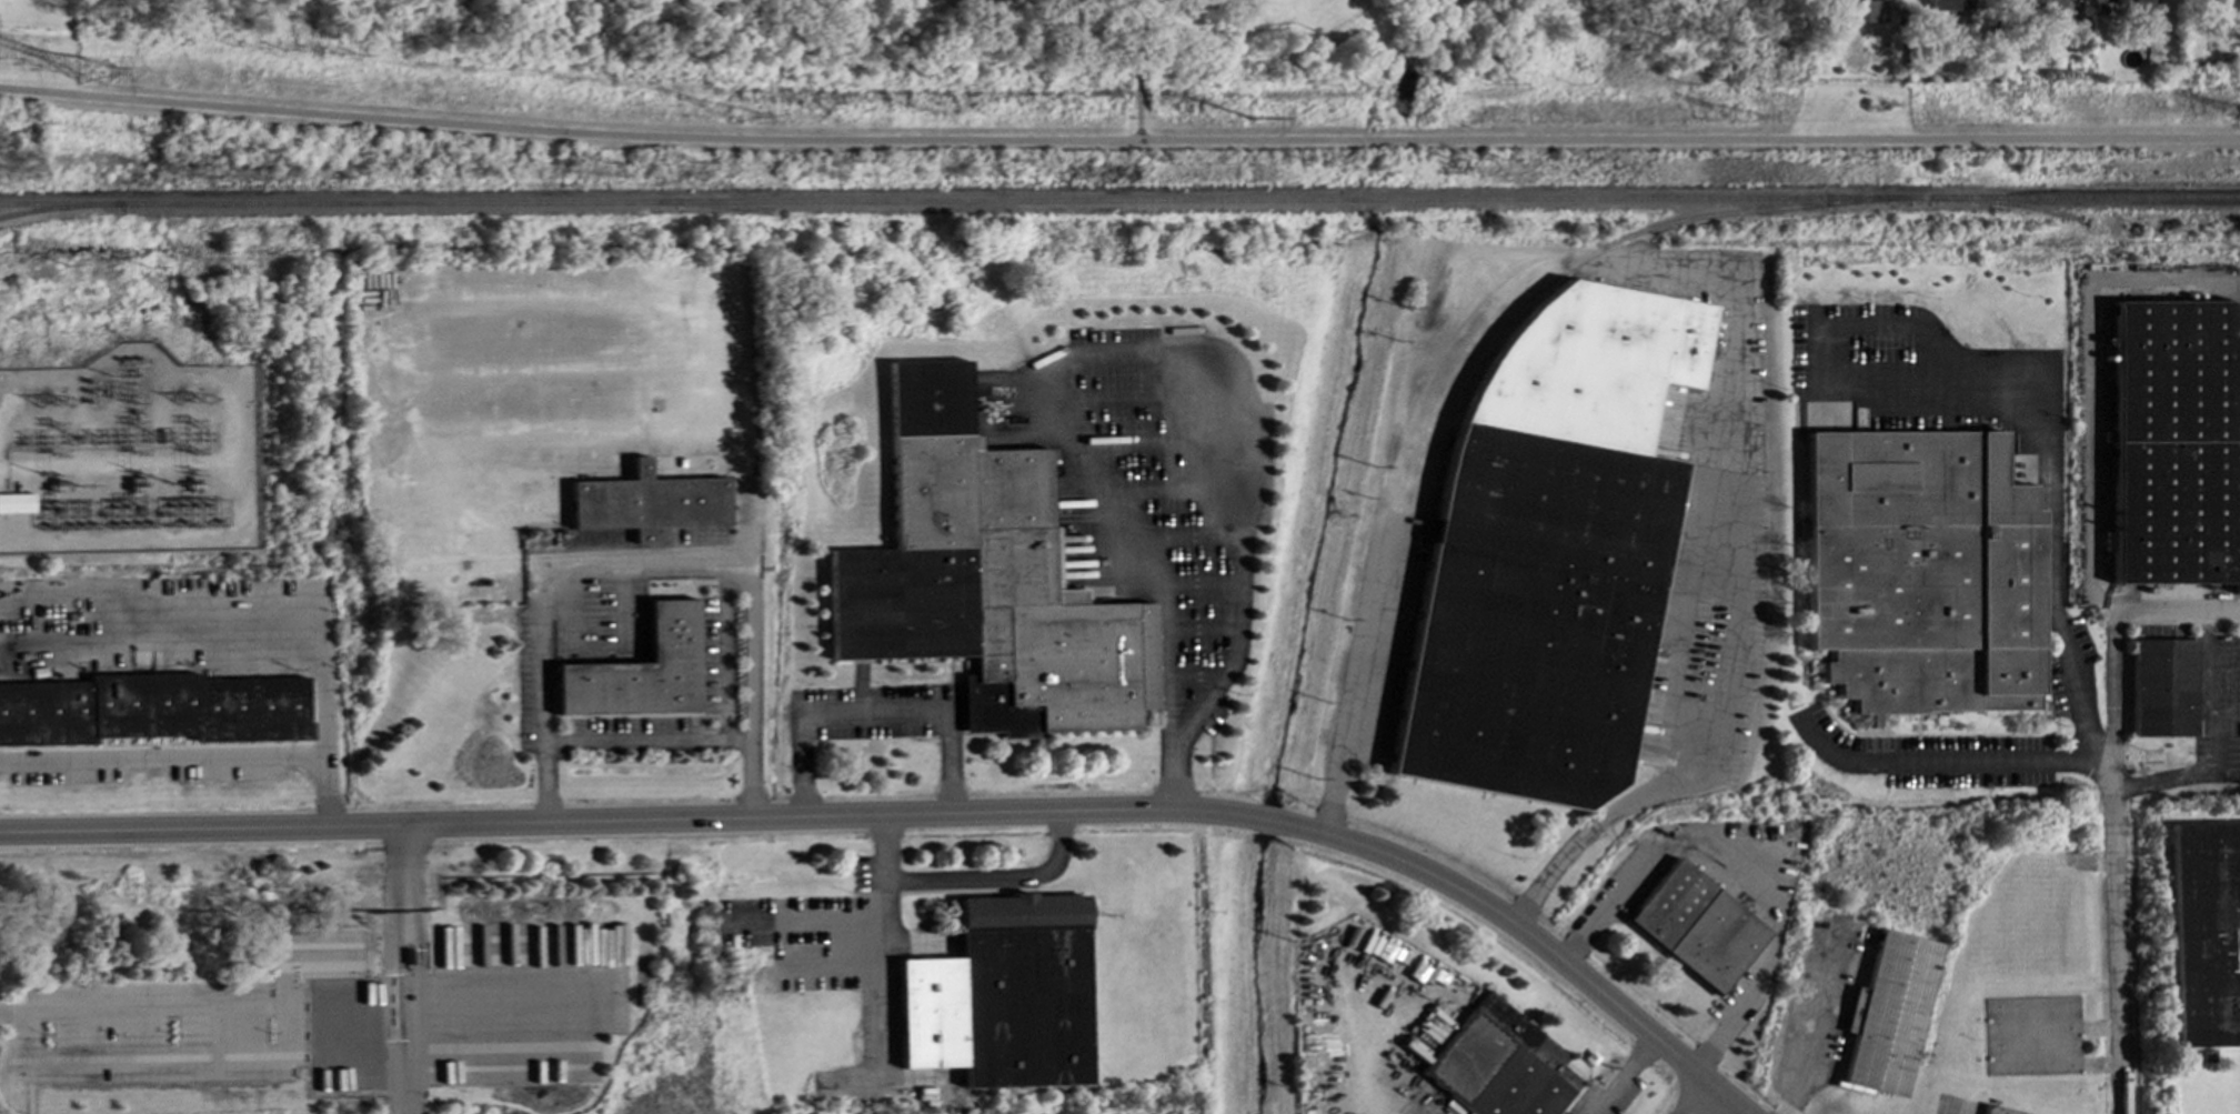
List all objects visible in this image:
building: (2226, 2)
building: (1949, 4)
building: (2134, 9)
building: (1865, 10)
park: (1282, 12)
park: (1072, 28)
road: (1138, 69)
power tower: (94, 72)
power tower: (739, 117)
power tower: (1744, 119)
power tower: (1248, 120)
road: (1118, 140)
railway: (1448, 200)
railway: (328, 204)
railway: (60, 207)
railway: (1596, 254)
road: (1692, 281)
road: (541, 310)
road: (1884, 321)
road: (545, 370)
building: (589, 402)
road: (570, 433)
building: (2173, 442)
power substation: (130, 456)
road: (2051, 458)
building: (492, 473)
building: (16, 502)
building: (646, 502)
road: (1168, 538)
building: (1549, 553)
building: (1919, 572)
building: (983, 578)
road: (268, 601)
road: (2118, 649)
road: (723, 653)
building: (637, 670)
building: (2163, 686)
road: (542, 696)
building: (152, 707)
road: (1198, 710)
road: (873, 714)
road: (2217, 739)
road: (646, 742)
road: (162, 761)
road: (1949, 763)
road: (1176, 774)
road: (1273, 822)
road: (632, 824)
road: (402, 864)
road: (1742, 873)
road: (967, 882)
road: (885, 915)
building: (1696, 925)
building: (2206, 932)
road: (1530, 940)
road: (2120, 960)
road: (414, 972)
road: (393, 973)
building: (1002, 994)
building: (1890, 1013)
road: (1812, 1025)
building: (1498, 1064)
road: (1621, 1076)
road: (406, 1081)
road: (1697, 1098)
building: (1998, 1110)

